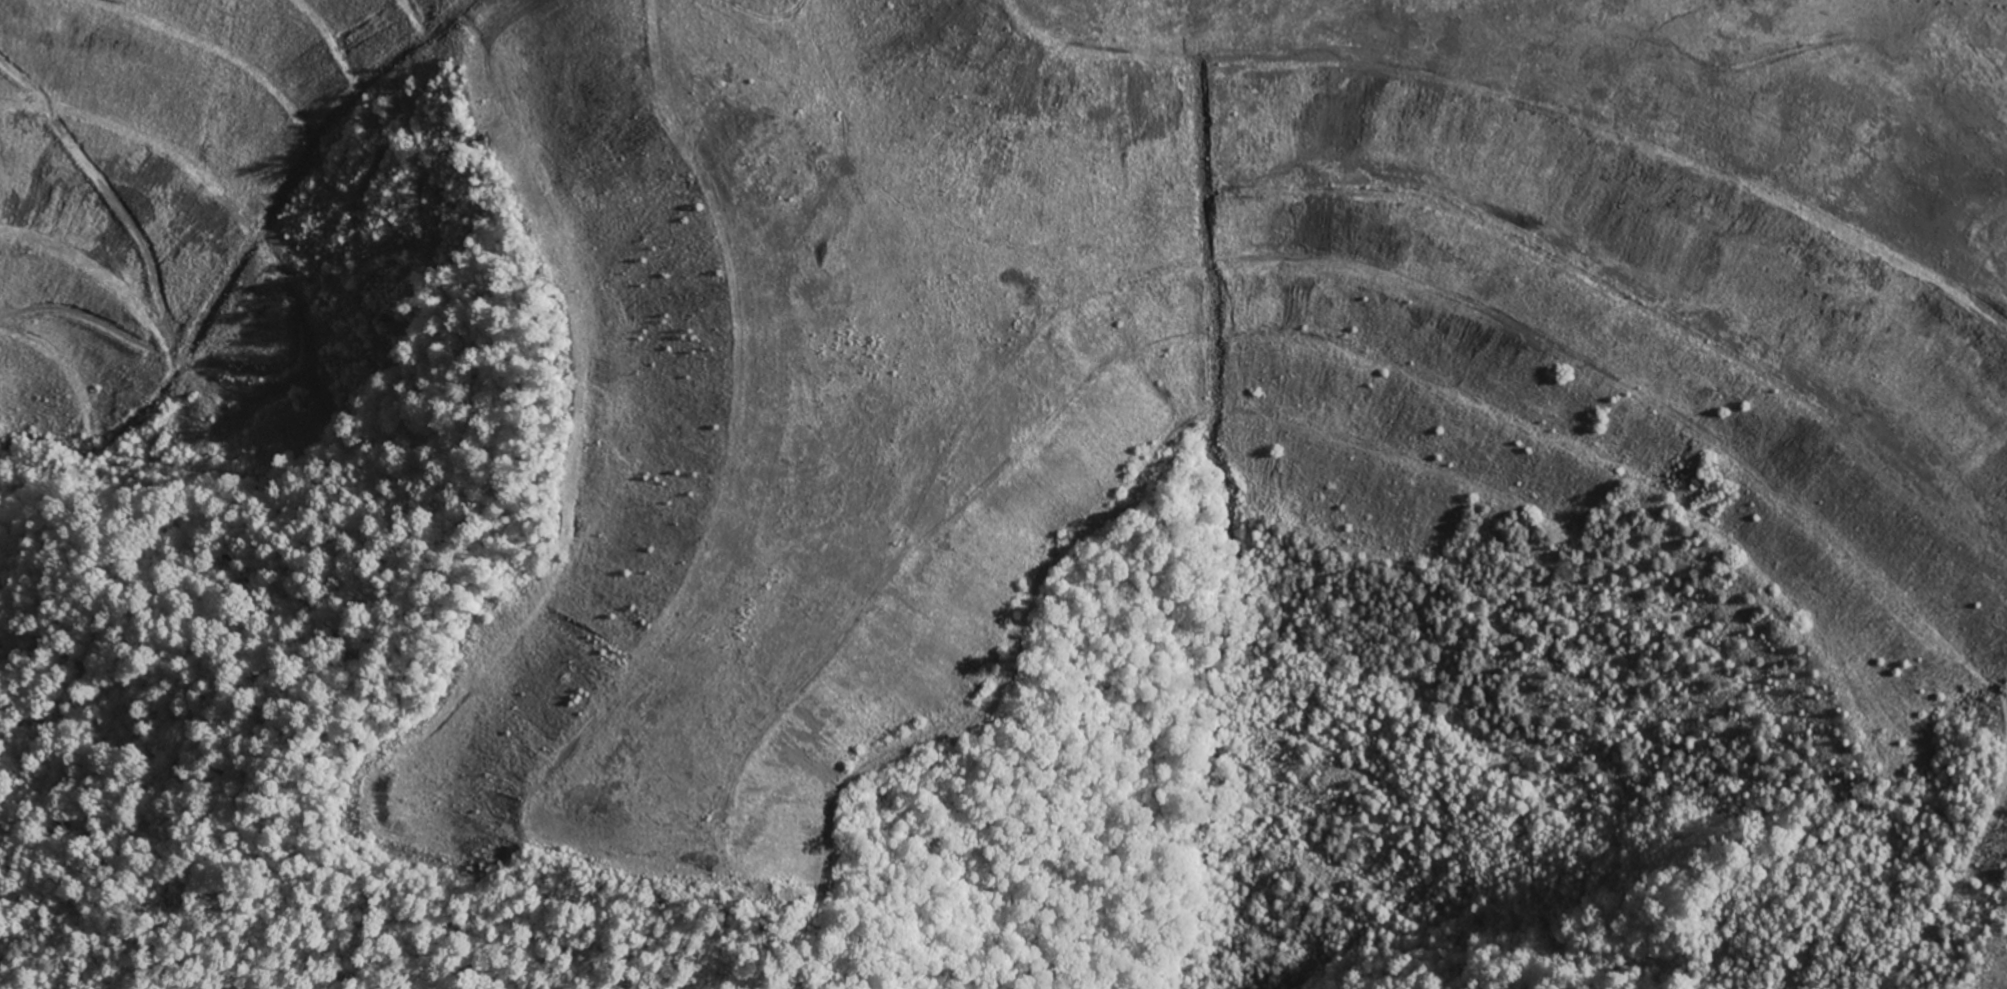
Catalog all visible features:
quarry: (1066, 345)
quarry: (2002, 975)

